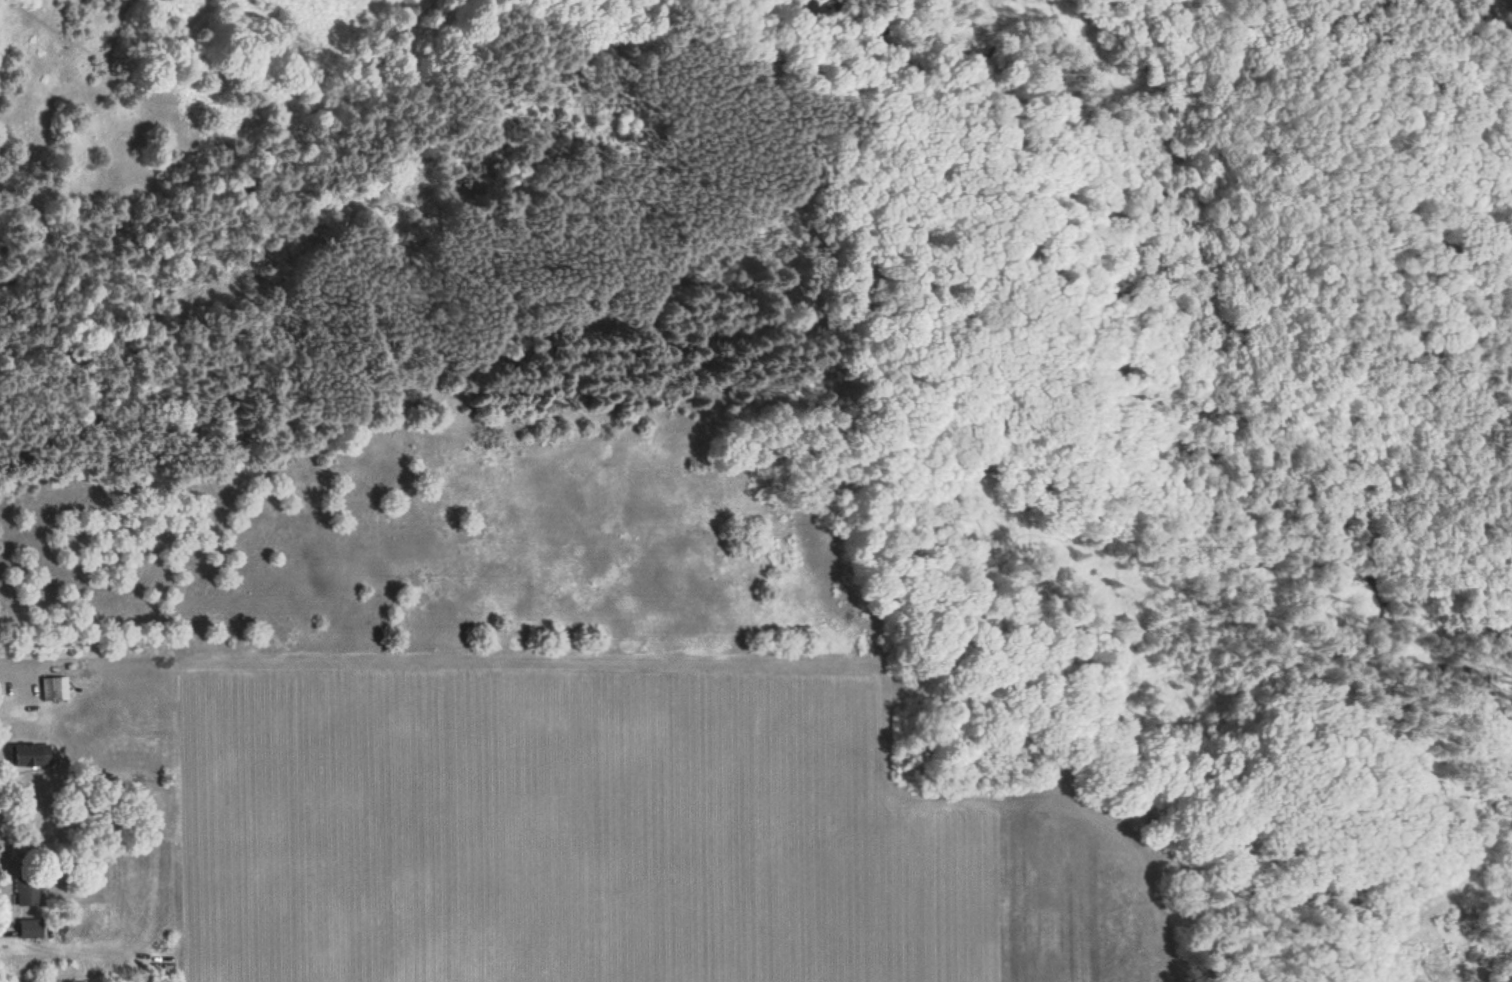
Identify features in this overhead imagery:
building: (54, 688)
building: (31, 757)
building: (26, 889)
building: (29, 927)

